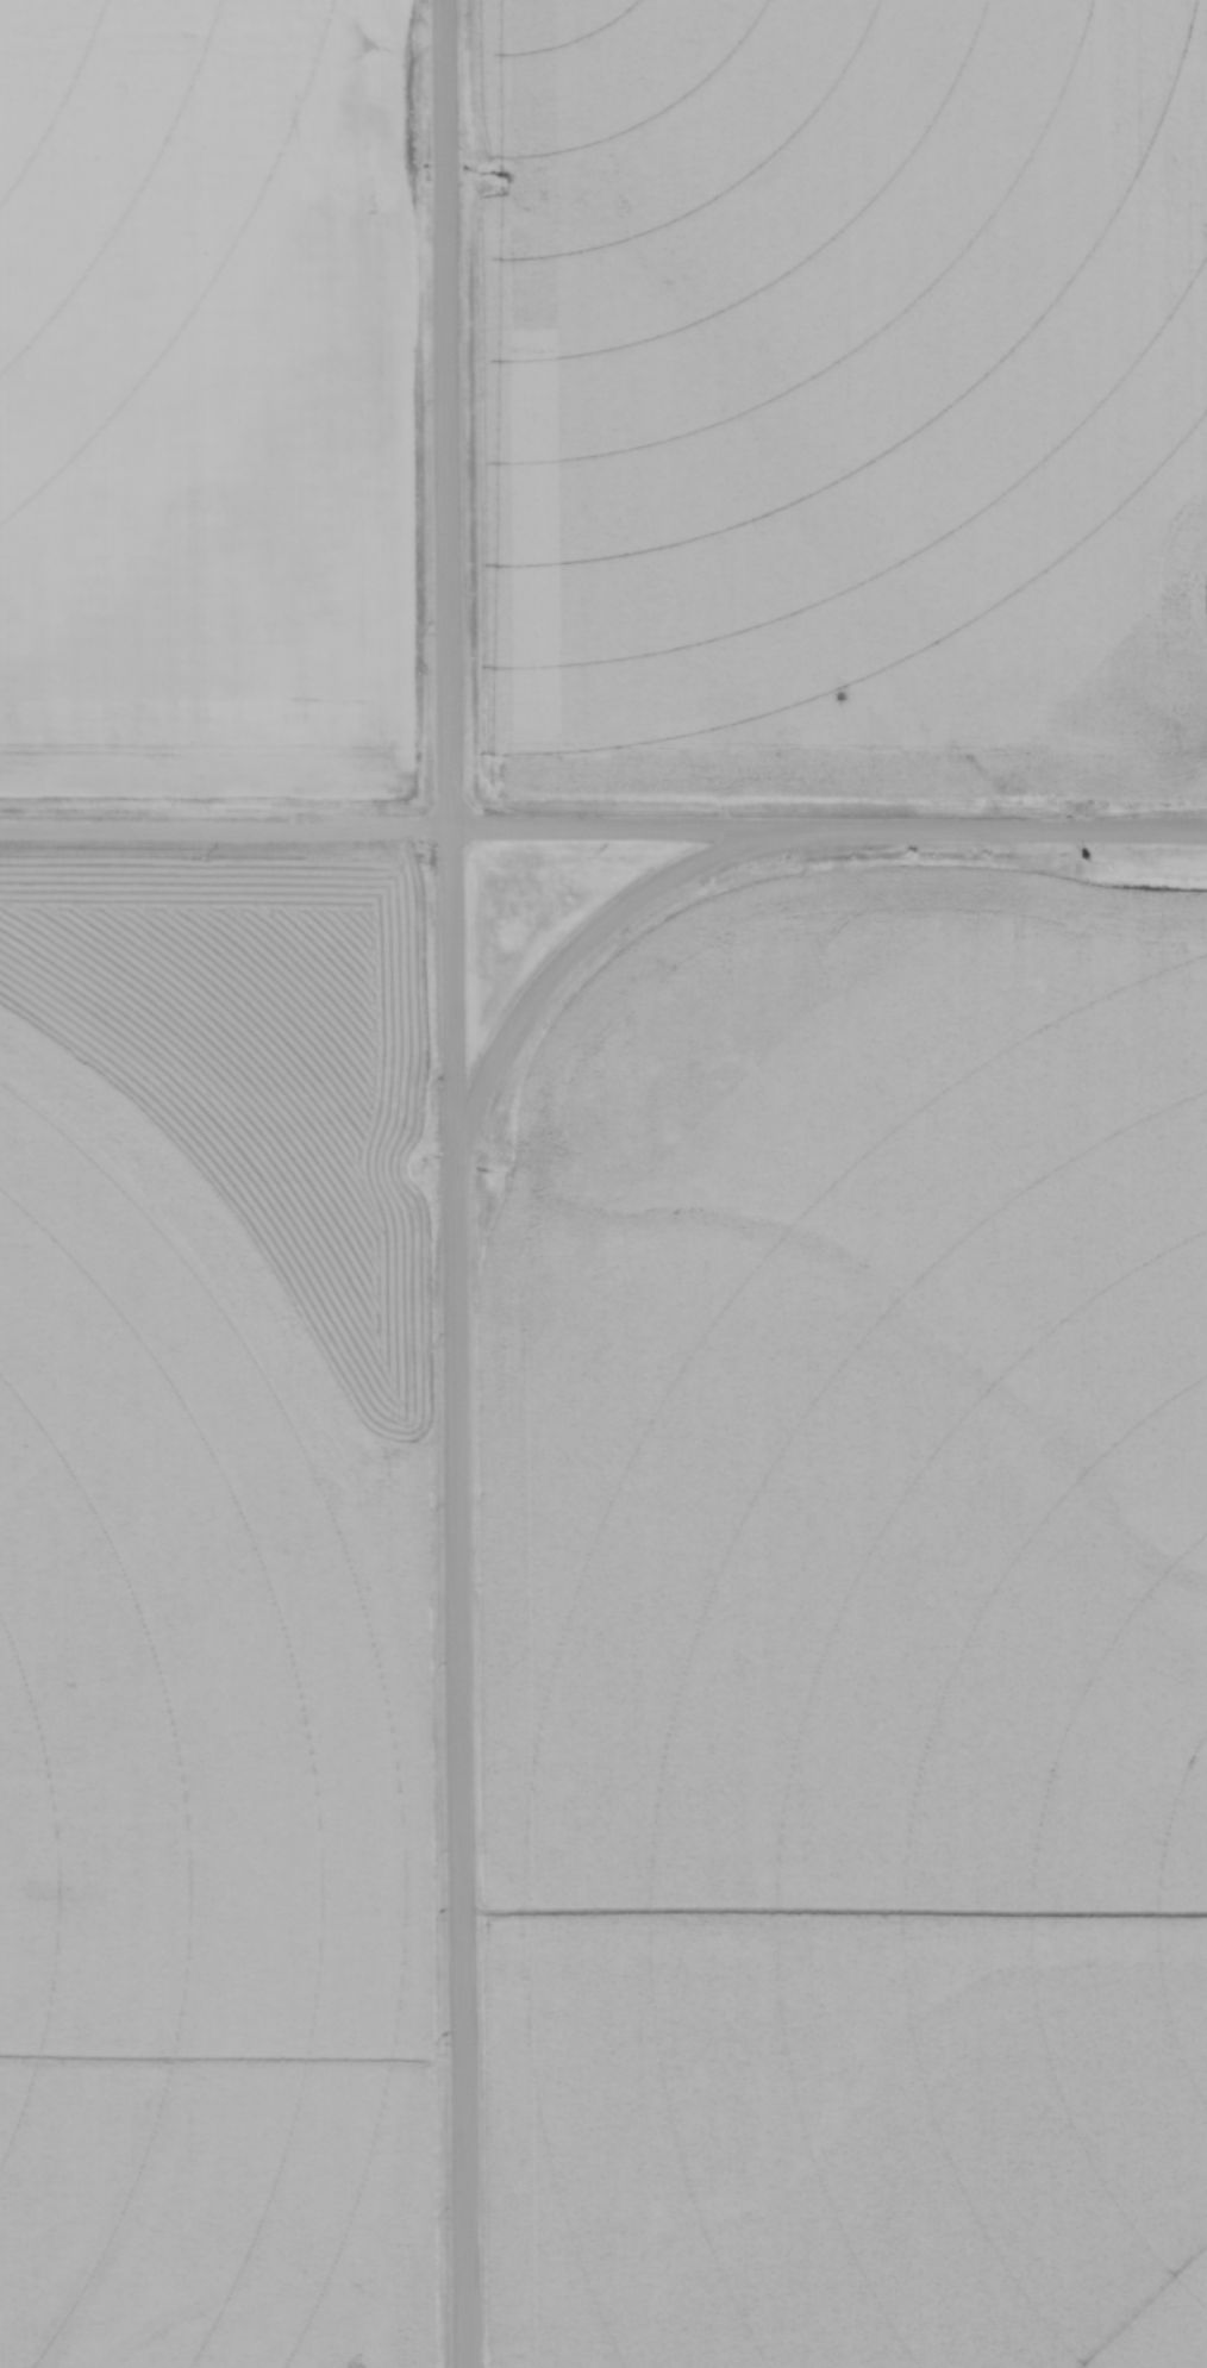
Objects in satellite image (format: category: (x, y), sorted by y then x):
road: (225, 831)
road: (827, 831)
road: (590, 939)
road: (452, 1183)

